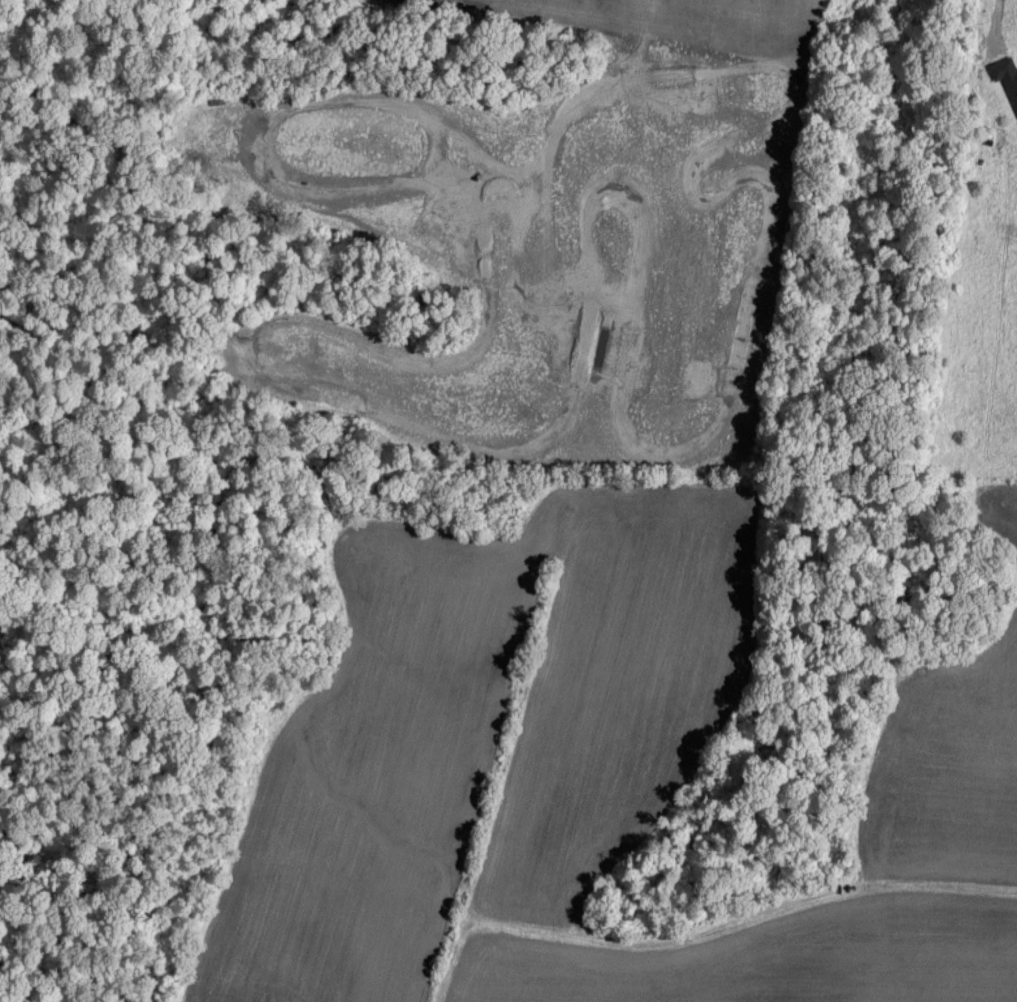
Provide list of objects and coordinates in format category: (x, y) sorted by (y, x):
road: (994, 23)
building: (1006, 76)

